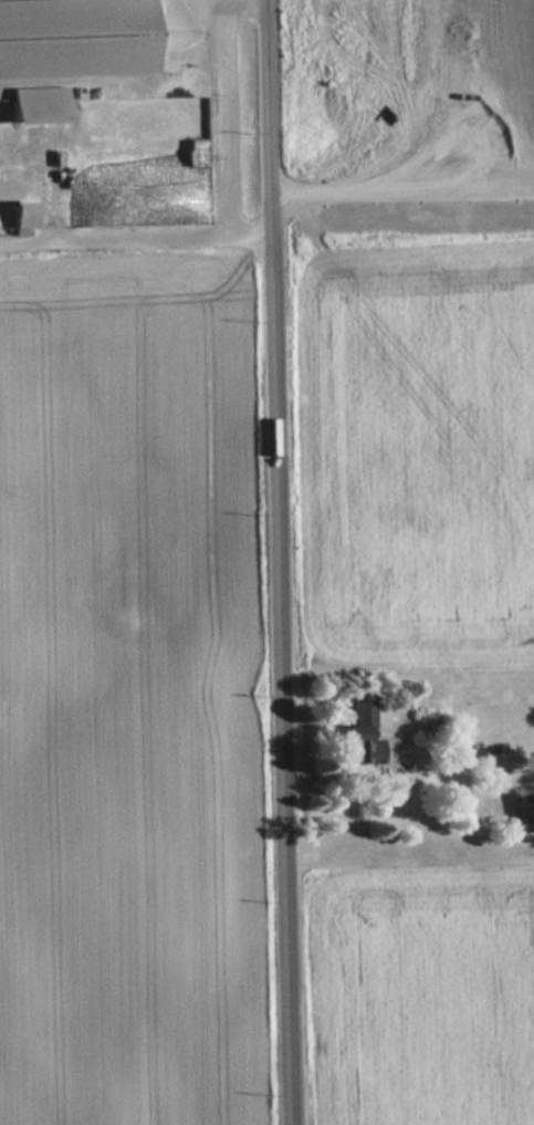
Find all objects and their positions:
road: (200, 2)
building: (76, 39)
road: (218, 112)
building: (142, 158)
road: (136, 231)
road: (281, 562)
building: (364, 737)
building: (526, 814)

